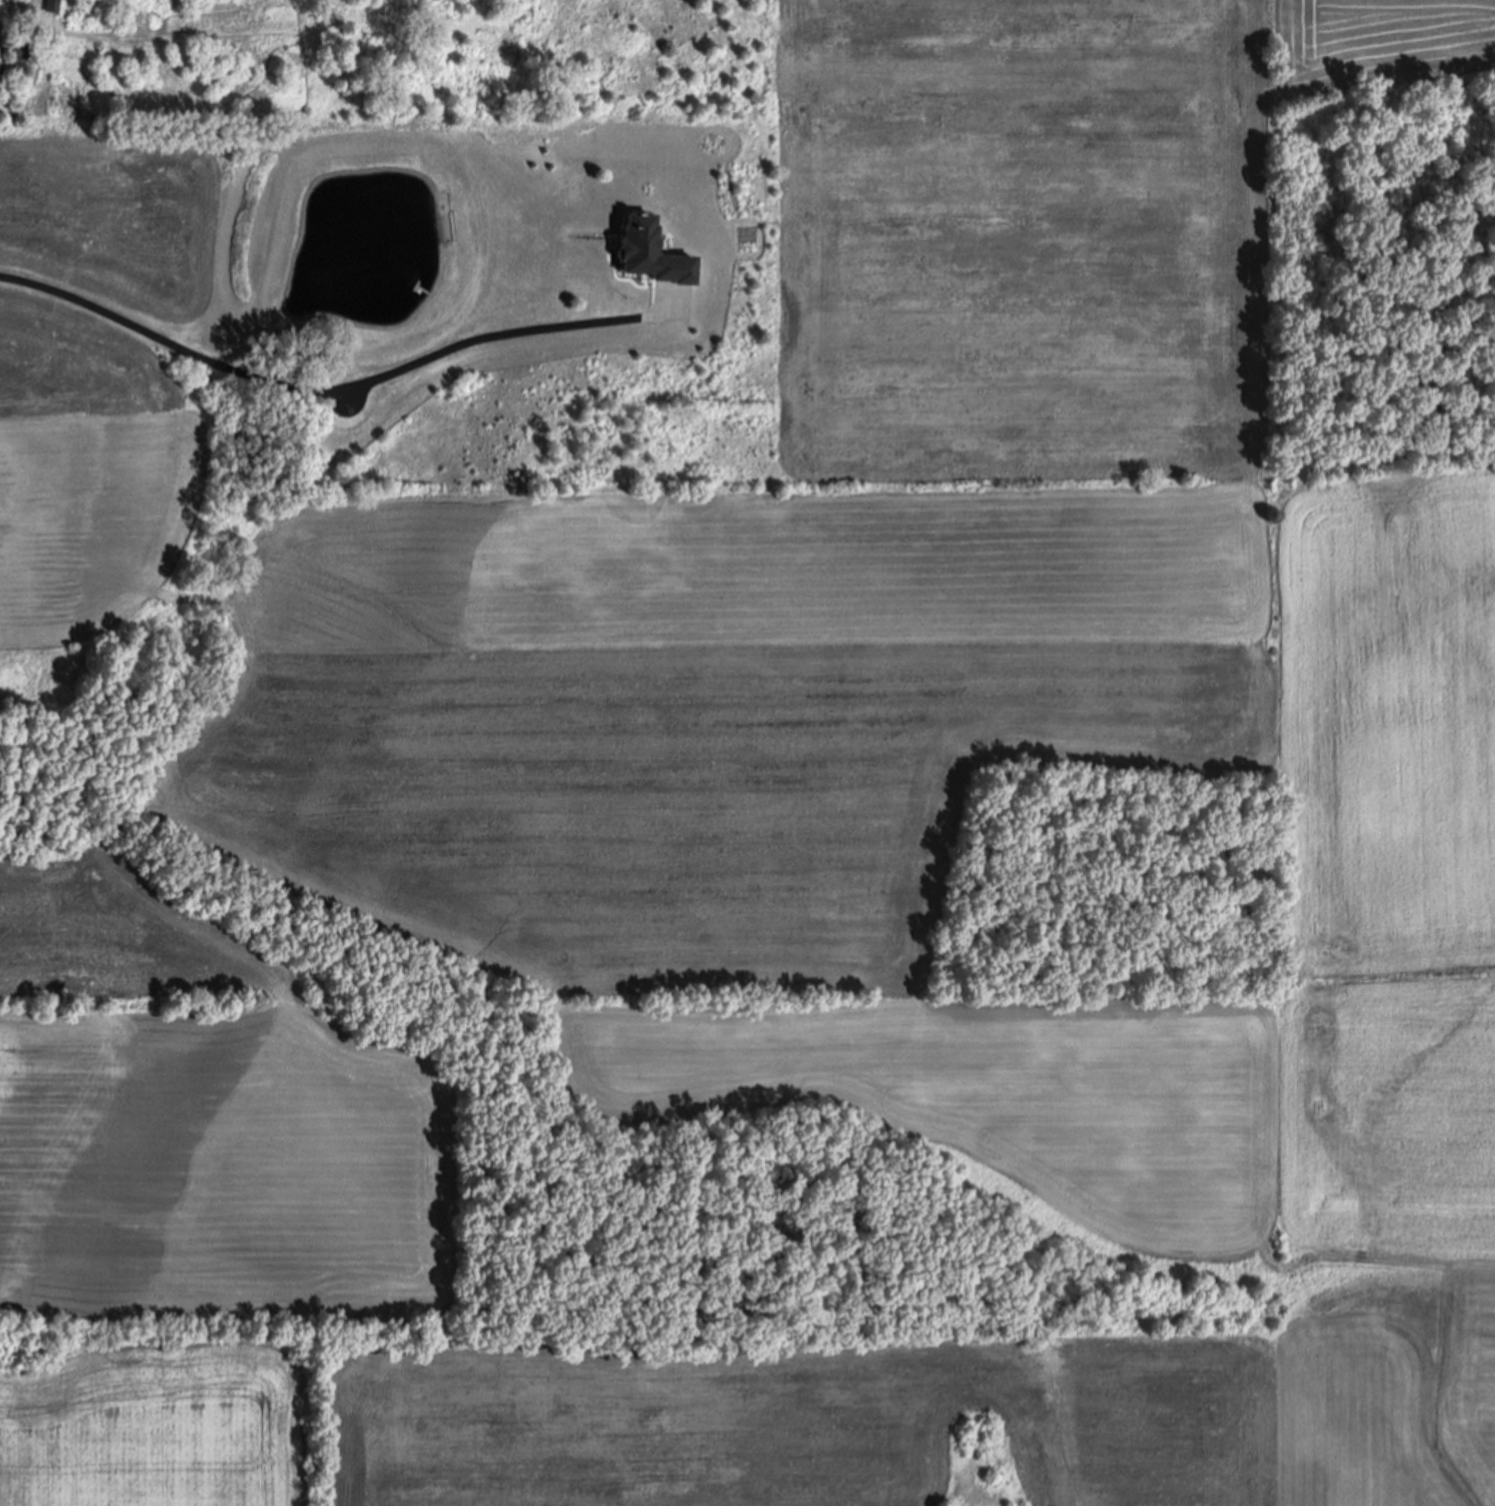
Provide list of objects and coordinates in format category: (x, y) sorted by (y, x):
building: (53, 6)
building: (23, 52)
building: (2, 72)
building: (651, 258)
road: (321, 402)
crop: (829, 865)

